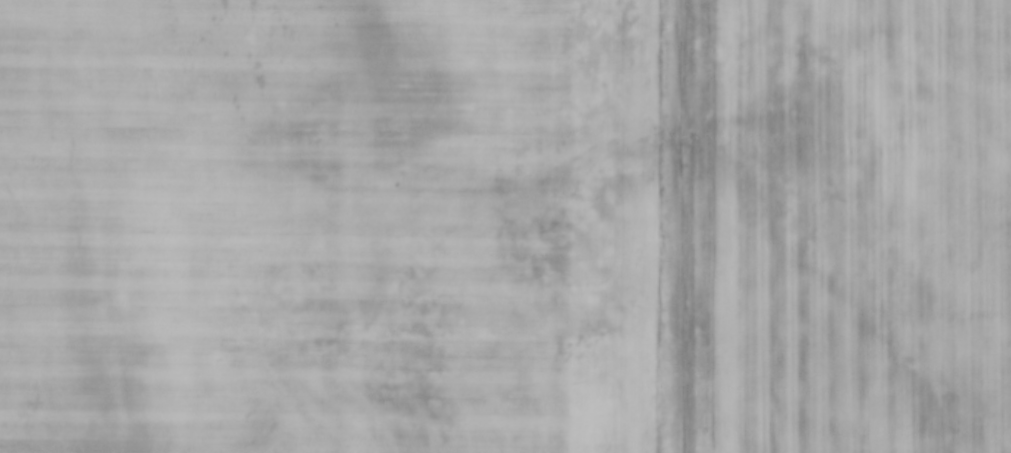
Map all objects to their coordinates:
road: (690, 226)

